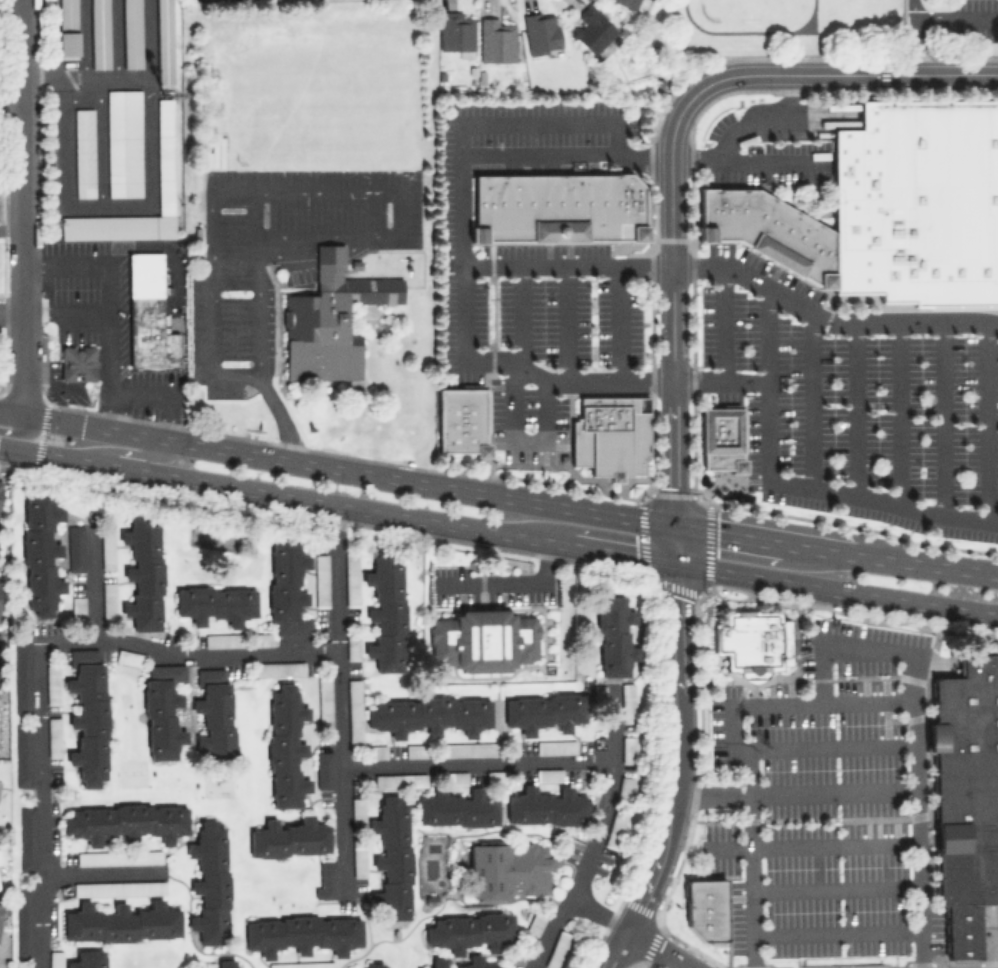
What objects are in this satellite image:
road: (10, 2)
building: (631, 4)
park: (750, 7)
road: (955, 17)
parking lot: (973, 20)
road: (51, 22)
building: (67, 28)
building: (591, 28)
building: (540, 31)
road: (747, 31)
building: (455, 32)
building: (99, 33)
building: (131, 33)
road: (913, 35)
road: (115, 37)
road: (148, 37)
road: (83, 38)
building: (494, 40)
building: (163, 41)
road: (838, 72)
road: (86, 76)
road: (12, 101)
road: (764, 119)
road: (539, 121)
parking lot: (532, 124)
road: (100, 140)
building: (124, 143)
building: (83, 152)
building: (164, 157)
parking lot: (763, 158)
road: (775, 158)
road: (12, 182)
building: (917, 203)
road: (102, 204)
road: (25, 207)
building: (556, 207)
road: (398, 213)
road: (256, 215)
road: (12, 228)
building: (767, 230)
road: (672, 238)
road: (549, 267)
road: (235, 281)
road: (106, 283)
building: (148, 313)
road: (12, 314)
road: (65, 314)
building: (329, 319)
road: (724, 323)
road: (567, 324)
road: (620, 324)
parking lot: (531, 328)
road: (213, 355)
building: (77, 363)
road: (523, 369)
road: (720, 381)
road: (141, 392)
road: (513, 400)
road: (808, 400)
parking lot: (852, 405)
road: (854, 410)
road: (11, 413)
road: (896, 413)
road: (281, 416)
road: (942, 418)
building: (460, 420)
road: (984, 421)
road: (17, 430)
building: (610, 435)
building: (720, 439)
road: (124, 452)
road: (675, 453)
building: (563, 458)
road: (349, 470)
building: (0, 480)
road: (739, 480)
road: (787, 484)
road: (710, 485)
fountain: (721, 486)
road: (274, 493)
road: (692, 495)
traffic signals: (676, 527)
road: (728, 534)
road: (677, 546)
building: (107, 549)
road: (817, 549)
building: (39, 552)
building: (75, 552)
road: (613, 552)
road: (925, 563)
traffic signals: (678, 565)
building: (143, 568)
road: (333, 576)
building: (351, 579)
building: (321, 580)
road: (93, 581)
road: (514, 583)
building: (287, 585)
road: (837, 590)
building: (108, 601)
building: (215, 603)
building: (77, 606)
building: (386, 609)
building: (614, 635)
building: (261, 639)
building: (483, 639)
building: (223, 640)
building: (752, 642)
building: (352, 647)
road: (861, 648)
road: (40, 656)
building: (129, 657)
road: (513, 666)
building: (277, 668)
building: (22, 677)
building: (52, 683)
building: (598, 692)
building: (627, 702)
building: (324, 703)
building: (162, 710)
building: (543, 710)
building: (354, 712)
building: (214, 713)
building: (429, 715)
building: (88, 716)
road: (730, 728)
building: (53, 737)
building: (555, 746)
building: (285, 747)
building: (470, 749)
building: (628, 749)
building: (417, 750)
building: (374, 752)
building: (22, 754)
road: (474, 761)
building: (324, 770)
road: (340, 772)
road: (675, 773)
building: (548, 775)
building: (457, 778)
building: (399, 780)
building: (966, 781)
building: (624, 786)
road: (794, 793)
parking lot: (822, 803)
building: (546, 807)
building: (457, 808)
building: (357, 810)
building: (126, 822)
building: (615, 829)
road: (916, 833)
road: (595, 834)
building: (27, 838)
building: (289, 838)
road: (809, 844)
building: (118, 857)
building: (359, 857)
building: (391, 857)
road: (751, 859)
building: (0, 862)
building: (508, 869)
road: (100, 872)
building: (326, 879)
building: (209, 882)
road: (835, 886)
building: (119, 888)
road: (443, 899)
building: (1, 906)
building: (705, 908)
road: (598, 912)
building: (25, 922)
building: (121, 922)
building: (534, 924)
building: (960, 930)
building: (470, 931)
road: (837, 932)
road: (188, 933)
building: (302, 933)
road: (659, 948)
building: (557, 949)
building: (56, 959)
building: (88, 959)
building: (437, 960)
building: (227, 963)
building: (301, 964)
building: (372, 965)
building: (25, 967)
building: (211, 967)

